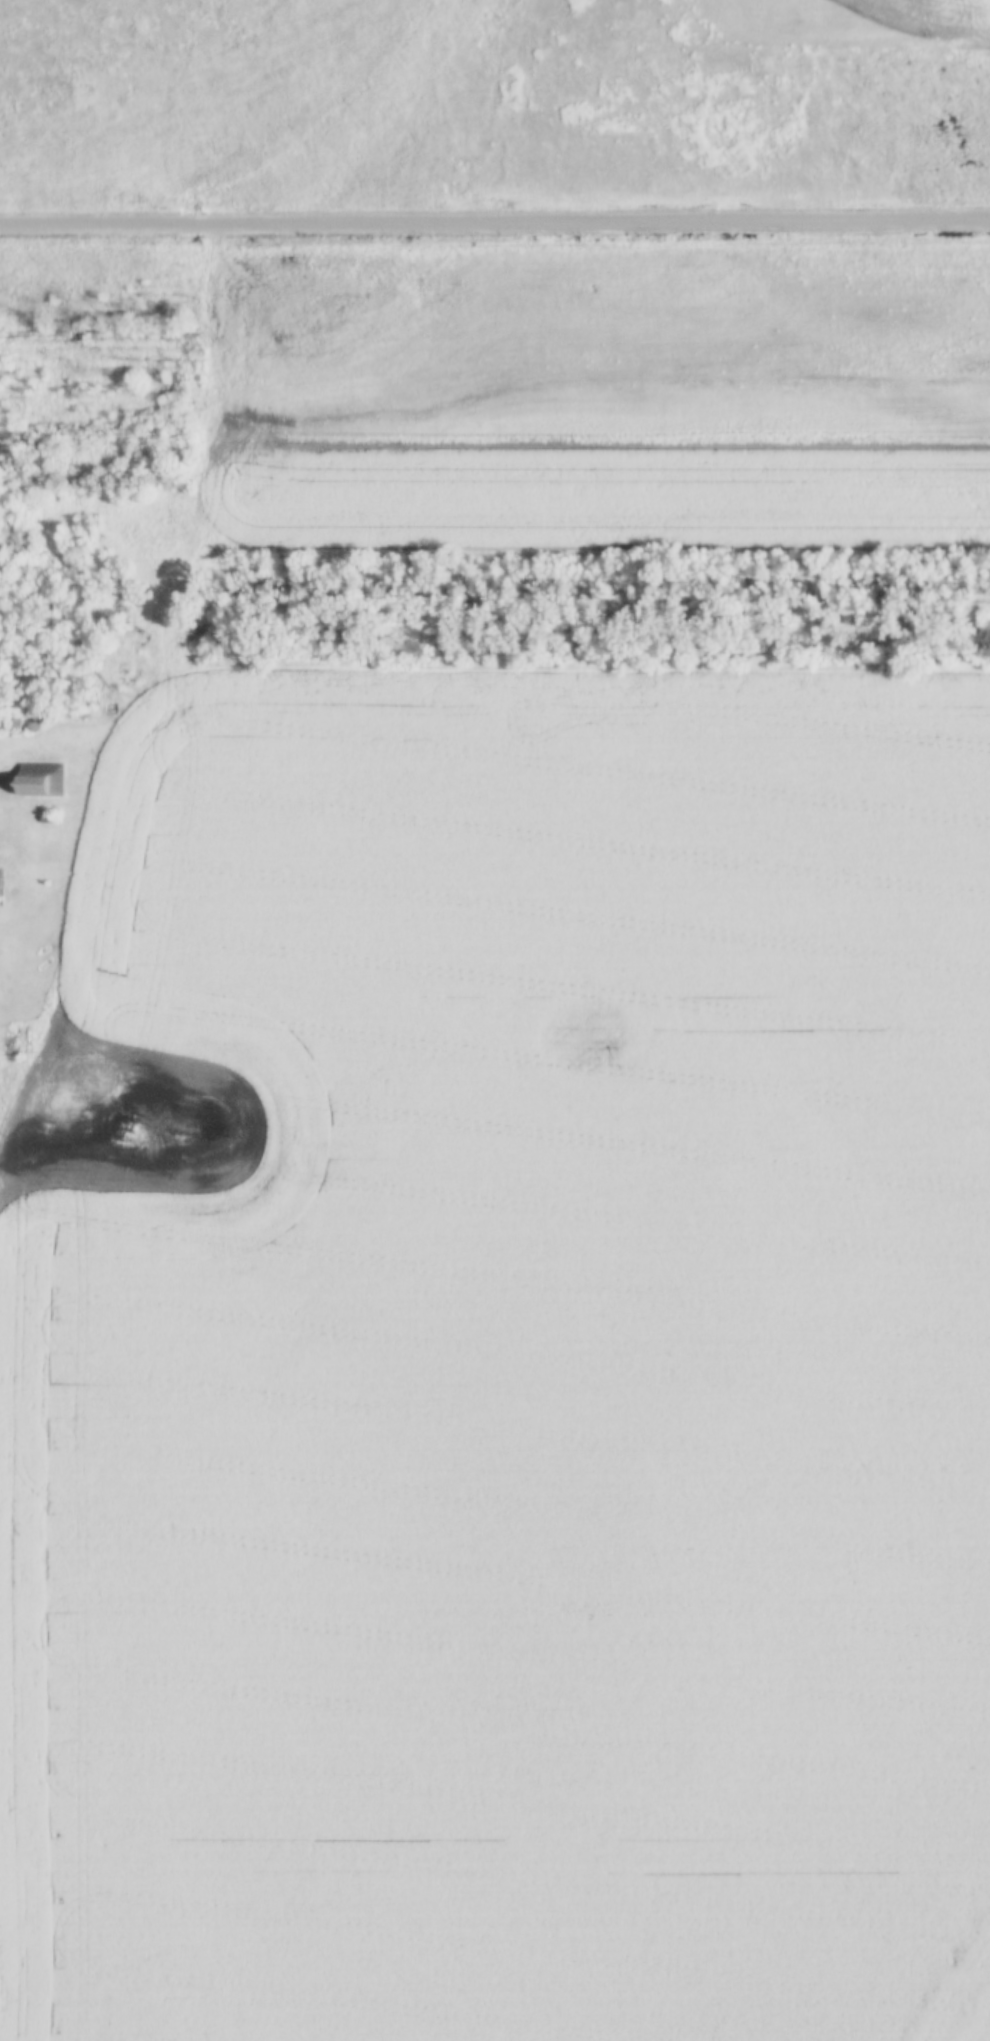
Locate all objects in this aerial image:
crop: (831, 24)
road: (495, 222)
crop: (515, 262)
crop: (636, 426)
road: (154, 683)
building: (46, 720)
silo: (46, 720)
building: (12, 726)
building: (31, 727)
silo: (31, 727)
building: (46, 781)
building: (48, 819)
building: (1, 883)
building: (5, 1044)
crop: (504, 1358)
crop: (979, 2026)

